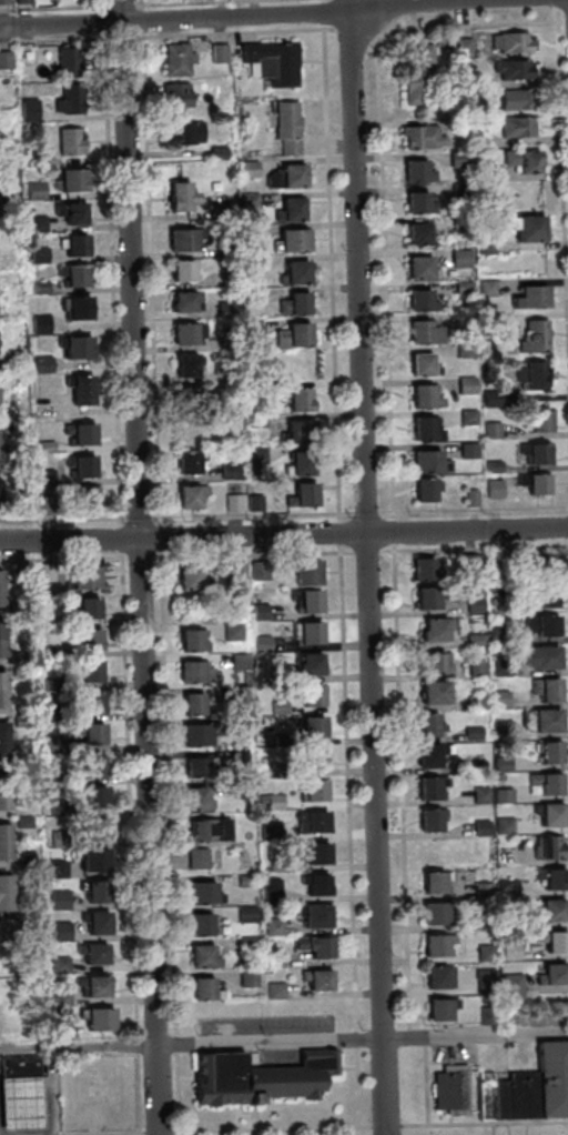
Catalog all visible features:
road: (319, 0)
building: (21, 1)
building: (2, 2)
road: (191, 2)
road: (554, 2)
road: (100, 6)
road: (119, 6)
road: (139, 6)
road: (52, 8)
road: (319, 12)
road: (374, 16)
road: (226, 18)
road: (140, 21)
road: (565, 21)
road: (101, 22)
road: (233, 32)
road: (349, 34)
road: (121, 38)
road: (54, 40)
road: (376, 40)
building: (508, 42)
road: (372, 47)
building: (460, 48)
building: (24, 53)
building: (217, 53)
building: (420, 53)
building: (4, 60)
building: (175, 60)
building: (270, 62)
building: (64, 63)
building: (510, 69)
building: (461, 77)
building: (415, 87)
building: (174, 94)
building: (514, 99)
building: (68, 100)
building: (27, 109)
building: (460, 110)
building: (455, 124)
building: (284, 127)
building: (516, 127)
building: (183, 132)
building: (419, 137)
building: (476, 140)
building: (68, 142)
building: (215, 153)
building: (456, 159)
building: (520, 161)
building: (246, 169)
building: (414, 172)
building: (483, 172)
building: (290, 177)
building: (67, 181)
building: (457, 189)
building: (32, 190)
road: (379, 190)
building: (177, 198)
building: (247, 200)
building: (416, 203)
building: (220, 210)
building: (287, 210)
building: (69, 213)
road: (560, 221)
building: (35, 223)
building: (459, 223)
building: (526, 229)
building: (247, 232)
building: (415, 234)
building: (291, 241)
building: (180, 242)
building: (484, 245)
building: (73, 247)
building: (221, 248)
building: (35, 255)
building: (458, 258)
building: (248, 264)
building: (417, 269)
building: (179, 272)
road: (328, 272)
building: (293, 273)
building: (71, 277)
road: (110, 279)
road: (148, 279)
building: (461, 287)
building: (38, 288)
building: (485, 288)
building: (250, 297)
building: (528, 298)
building: (417, 301)
building: (180, 303)
building: (292, 305)
building: (73, 309)
building: (224, 310)
building: (501, 319)
building: (470, 323)
building: (39, 324)
building: (248, 329)
building: (422, 333)
building: (181, 335)
building: (291, 337)
building: (534, 337)
building: (224, 341)
building: (73, 346)
building: (464, 351)
building: (41, 364)
building: (419, 365)
building: (183, 366)
building: (529, 375)
building: (465, 385)
building: (78, 389)
building: (291, 396)
building: (0, 398)
building: (422, 398)
building: (489, 399)
building: (190, 400)
building: (42, 411)
building: (466, 416)
building: (254, 421)
building: (537, 422)
building: (423, 430)
building: (297, 431)
building: (489, 431)
building: (80, 434)
building: (0, 448)
building: (43, 448)
building: (466, 451)
building: (534, 453)
building: (255, 455)
building: (301, 463)
building: (427, 463)
building: (185, 464)
building: (79, 466)
building: (490, 466)
building: (227, 471)
building: (43, 476)
building: (532, 483)
building: (491, 489)
building: (422, 490)
building: (0, 496)
building: (301, 496)
building: (186, 498)
building: (469, 498)
building: (82, 499)
building: (253, 502)
building: (232, 503)
building: (44, 506)
road: (470, 510)
road: (362, 513)
road: (248, 515)
road: (135, 519)
road: (62, 521)
road: (390, 531)
road: (336, 533)
road: (283, 535)
road: (116, 538)
road: (156, 538)
road: (471, 548)
road: (363, 551)
road: (251, 554)
road: (138, 558)
road: (62, 559)
building: (467, 561)
building: (495, 561)
building: (541, 561)
road: (139, 567)
road: (365, 567)
building: (422, 567)
building: (236, 570)
building: (257, 571)
building: (303, 572)
building: (45, 573)
building: (16, 575)
building: (82, 579)
building: (186, 579)
building: (1, 587)
building: (540, 593)
building: (427, 595)
building: (490, 601)
building: (307, 602)
building: (471, 604)
building: (14, 606)
building: (85, 609)
building: (258, 612)
building: (490, 619)
building: (539, 622)
building: (433, 626)
building: (0, 632)
building: (231, 632)
building: (307, 633)
building: (495, 635)
building: (473, 639)
building: (88, 640)
building: (190, 642)
building: (260, 643)
building: (0, 650)
building: (50, 652)
building: (538, 655)
building: (14, 656)
building: (237, 661)
building: (435, 662)
building: (308, 664)
building: (497, 665)
building: (474, 667)
building: (18, 670)
building: (89, 672)
building: (193, 673)
building: (276, 676)
building: (1, 682)
building: (49, 684)
building: (545, 689)
building: (433, 691)
building: (237, 694)
building: (310, 695)
building: (497, 697)
building: (1, 700)
building: (474, 701)
building: (90, 704)
building: (191, 705)
building: (277, 707)
building: (545, 717)
building: (20, 721)
building: (236, 722)
building: (424, 723)
building: (499, 726)
building: (311, 729)
building: (469, 732)
building: (1, 733)
building: (87, 733)
building: (194, 736)
building: (280, 739)
building: (53, 743)
building: (2, 751)
building: (547, 751)
building: (427, 754)
building: (236, 756)
building: (311, 760)
building: (499, 763)
building: (91, 766)
building: (193, 767)
road: (344, 770)
building: (270, 771)
building: (496, 776)
building: (541, 783)
building: (2, 784)
building: (426, 787)
building: (240, 789)
road: (397, 791)
building: (312, 792)
building: (478, 794)
building: (500, 795)
building: (92, 797)
building: (194, 800)
building: (3, 802)
building: (272, 802)
building: (55, 807)
building: (549, 813)
building: (428, 817)
building: (21, 822)
building: (310, 822)
building: (501, 825)
building: (478, 826)
building: (94, 830)
building: (209, 830)
building: (267, 830)
building: (3, 834)
building: (58, 838)
road: (128, 842)
road: (166, 842)
building: (549, 846)
building: (3, 851)
building: (310, 853)
building: (196, 858)
building: (24, 860)
building: (91, 860)
building: (275, 866)
building: (55, 868)
building: (550, 876)
building: (311, 880)
building: (243, 881)
building: (433, 882)
building: (4, 885)
building: (505, 887)
building: (479, 890)
building: (93, 891)
building: (270, 892)
building: (199, 893)
building: (58, 900)
building: (4, 903)
building: (550, 907)
building: (505, 912)
building: (433, 913)
building: (244, 914)
building: (312, 916)
building: (480, 918)
building: (93, 923)
building: (197, 925)
building: (271, 926)
building: (58, 930)
building: (8, 931)
building: (552, 940)
building: (435, 944)
building: (244, 945)
building: (313, 946)
building: (507, 950)
building: (483, 952)
building: (91, 954)
building: (199, 956)
building: (272, 962)
building: (59, 964)
building: (550, 972)
building: (437, 976)
building: (245, 978)
building: (314, 980)
building: (483, 980)
building: (8, 987)
building: (201, 987)
building: (513, 987)
building: (94, 988)
building: (273, 988)
road: (398, 993)
road: (363, 994)
building: (59, 996)
road: (144, 1000)
building: (446, 1008)
building: (494, 1015)
building: (68, 1016)
building: (104, 1017)
building: (12, 1023)
road: (364, 1037)
road: (80, 1048)
road: (361, 1061)
building: (23, 1066)
building: (263, 1078)
building: (556, 1078)
road: (430, 1081)
road: (51, 1083)
road: (2, 1086)
building: (457, 1088)
building: (529, 1095)
building: (490, 1097)
building: (24, 1101)
building: (507, 1101)
road: (10, 1104)
road: (26, 1106)
road: (2, 1107)
road: (52, 1117)
road: (485, 1124)
road: (389, 1126)
road: (276, 1129)
road: (12, 1131)
road: (163, 1132)
road: (94, 1134)

